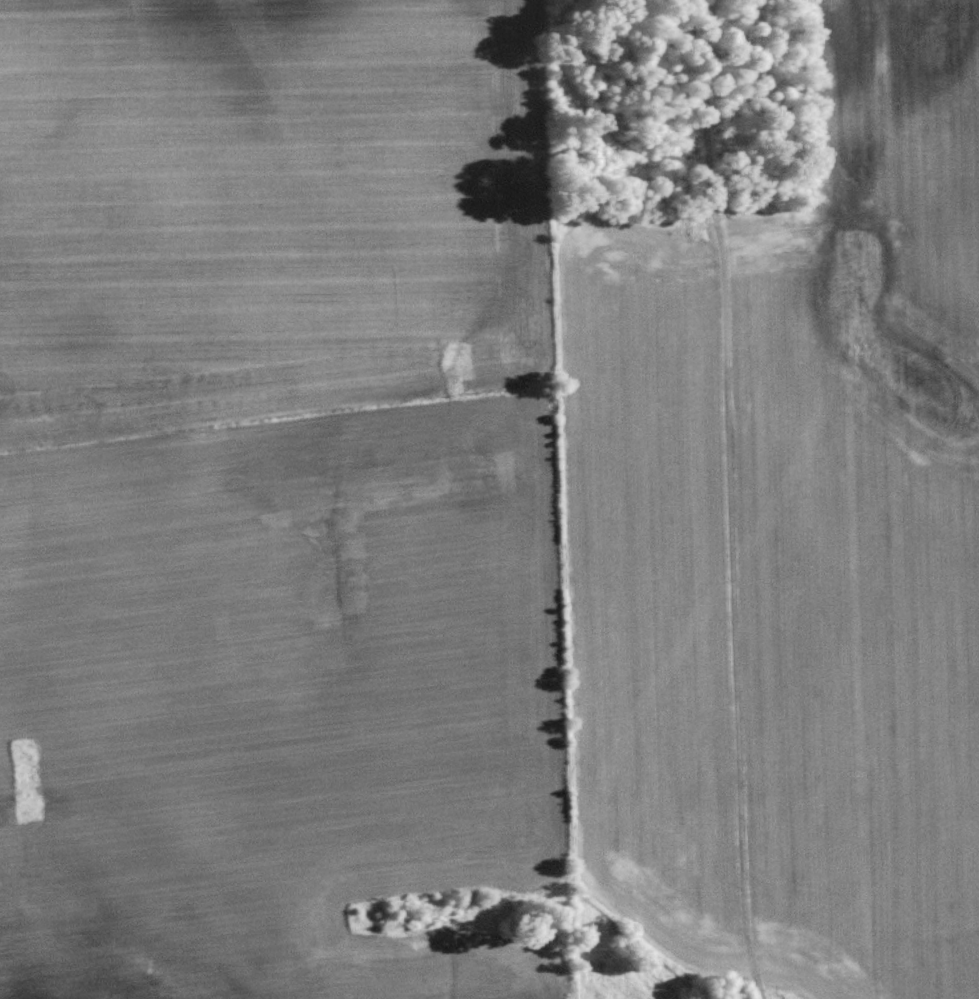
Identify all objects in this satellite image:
road: (148, 436)
road: (505, 978)

